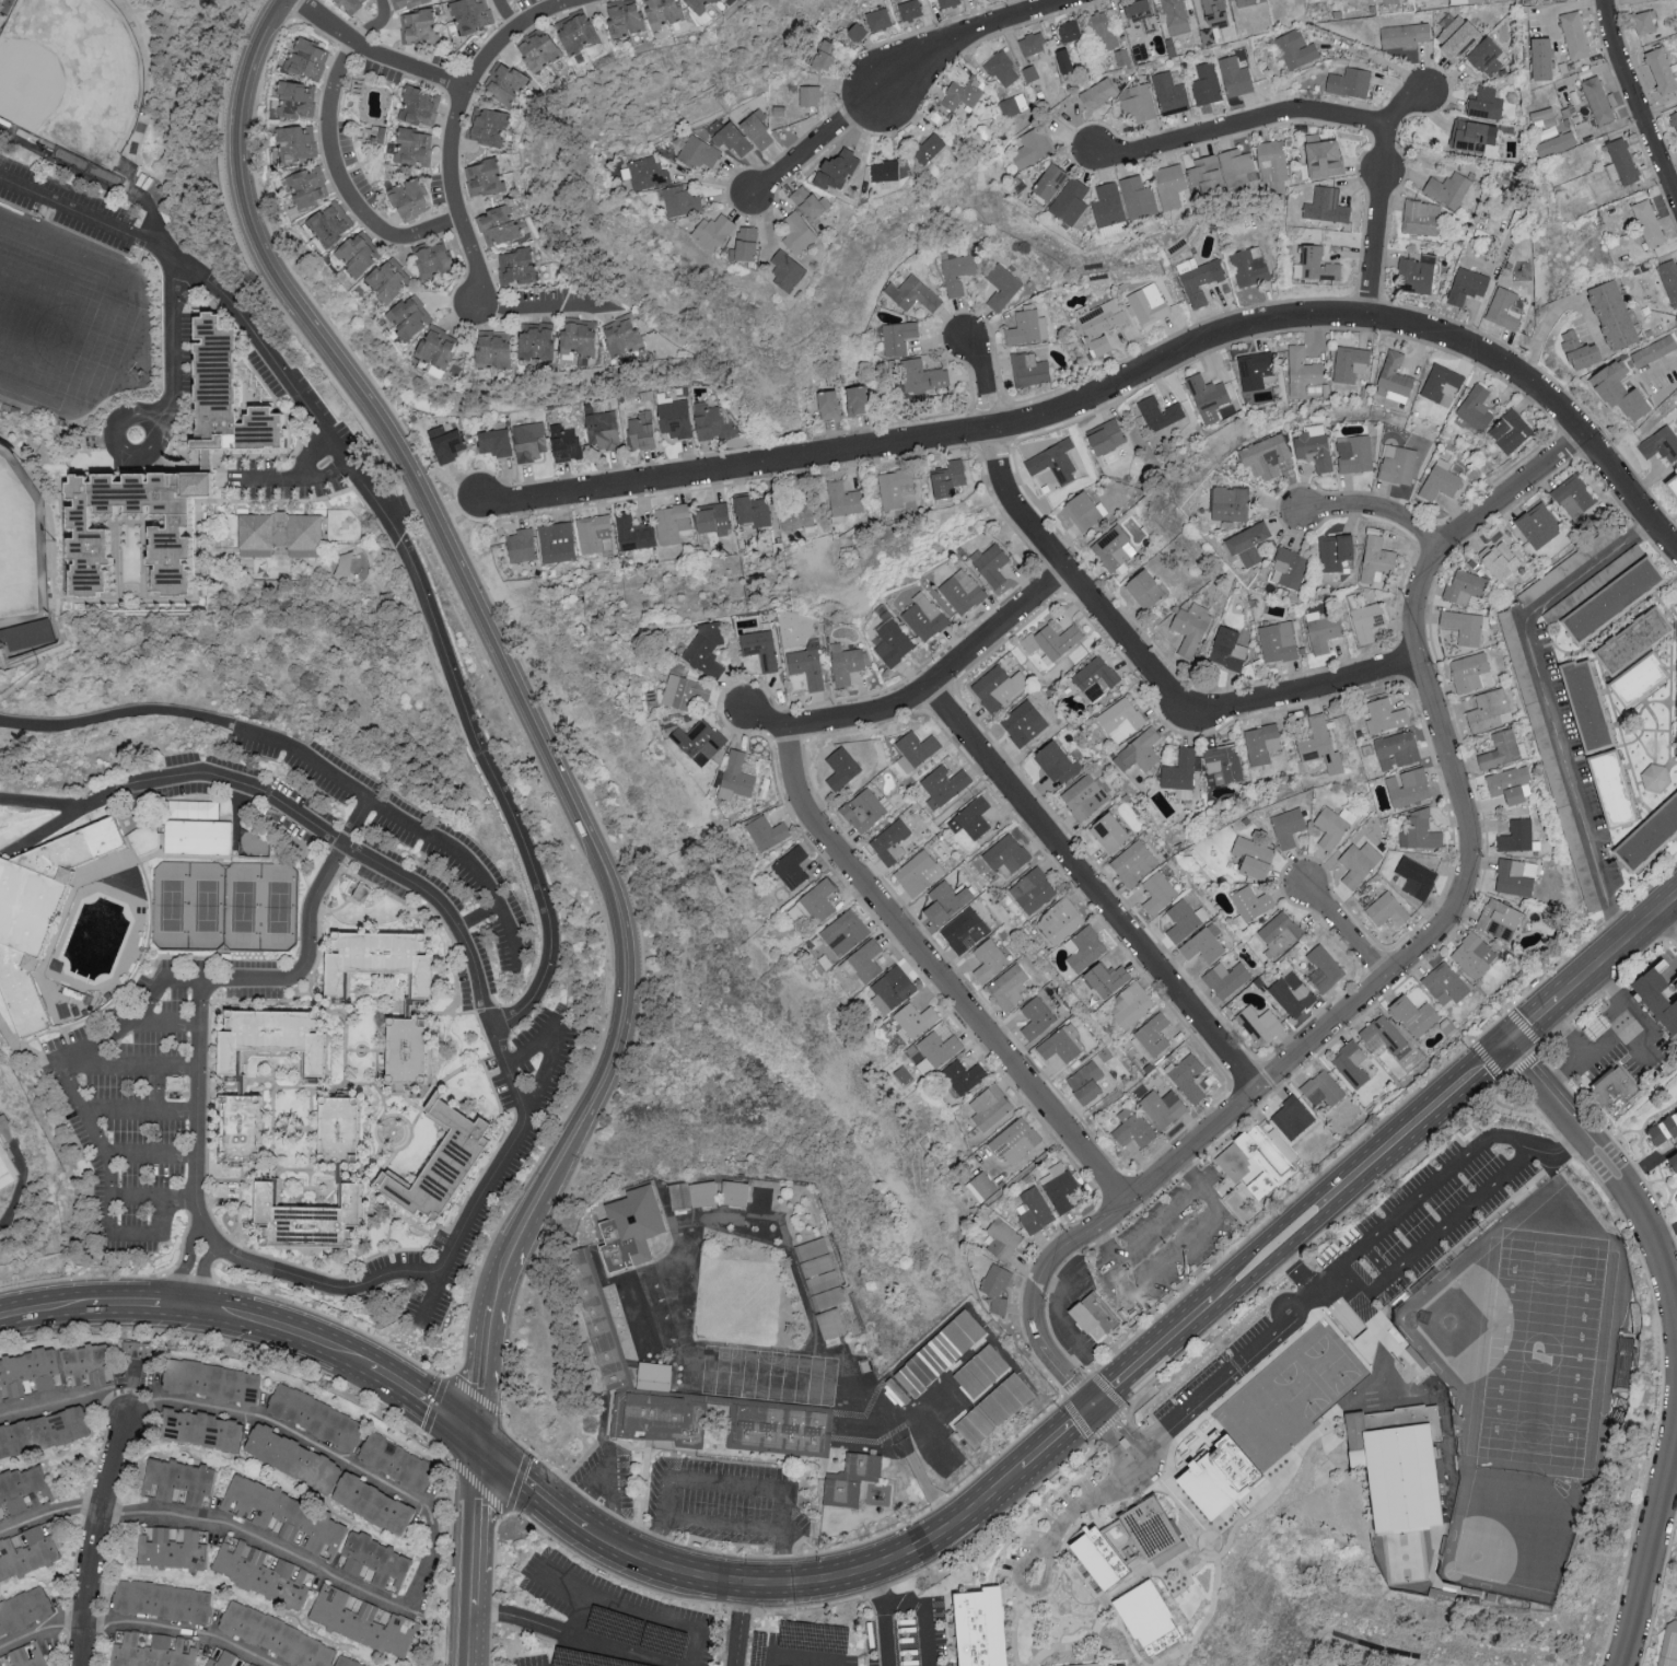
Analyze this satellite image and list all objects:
building: (1465, 0)
building: (947, 2)
building: (1245, 2)
building: (405, 3)
building: (349, 4)
building: (699, 4)
building: (909, 8)
building: (661, 11)
building: (1214, 12)
building: (1141, 13)
building: (470, 14)
road: (502, 14)
building: (1175, 15)
building: (622, 16)
building: (878, 19)
building: (1644, 20)
road: (373, 25)
building: (1069, 30)
building: (1104, 30)
building: (857, 31)
building: (577, 32)
building: (1405, 34)
building: (1574, 34)
building: (1457, 35)
building: (1032, 43)
building: (1296, 48)
park: (197, 49)
building: (537, 49)
building: (825, 54)
road: (375, 55)
building: (1486, 55)
building: (304, 57)
building: (1541, 57)
building: (1063, 59)
road: (1379, 61)
building: (1002, 67)
building: (1661, 70)
park: (70, 74)
building: (1235, 75)
building: (504, 80)
road: (899, 80)
building: (1349, 81)
building: (1206, 82)
building: (1097, 92)
building: (1169, 92)
building: (963, 93)
building: (810, 94)
building: (295, 98)
building: (1597, 100)
road: (1635, 100)
building: (1138, 101)
building: (1486, 102)
building: (418, 104)
building: (1013, 104)
road: (1659, 108)
building: (1544, 117)
building: (1675, 117)
road: (456, 121)
building: (488, 125)
road: (1242, 125)
building: (757, 128)
building: (371, 132)
building: (732, 137)
building: (296, 141)
building: (1556, 143)
building: (411, 144)
building: (1033, 145)
building: (929, 147)
building: (698, 151)
building: (1323, 155)
building: (1622, 160)
building: (1272, 163)
building: (1238, 167)
building: (836, 168)
building: (885, 170)
building: (647, 172)
building: (1206, 173)
building: (482, 176)
building: (1049, 180)
building: (1169, 184)
building: (307, 185)
road: (340, 186)
building: (1448, 187)
building: (1138, 196)
road: (1382, 196)
building: (408, 198)
building: (680, 199)
building: (1070, 200)
building: (810, 201)
building: (1326, 205)
building: (1108, 208)
building: (1422, 217)
building: (329, 222)
building: (1649, 222)
building: (498, 224)
building: (712, 230)
building: (797, 232)
building: (746, 242)
building: (356, 252)
building: (431, 259)
building: (1318, 264)
building: (515, 265)
building: (1249, 265)
building: (787, 270)
building: (957, 272)
building: (1416, 273)
building: (387, 278)
building: (1199, 278)
building: (1670, 280)
building: (1467, 284)
building: (1002, 286)
building: (912, 292)
road: (541, 298)
building: (1148, 303)
building: (1504, 307)
building: (1612, 314)
building: (408, 315)
road: (1551, 315)
park: (55, 318)
building: (1099, 324)
building: (1026, 327)
building: (621, 335)
building: (898, 336)
building: (578, 337)
building: (535, 340)
building: (435, 348)
building: (492, 348)
building: (1580, 350)
building: (1654, 350)
road: (173, 356)
building: (1350, 363)
road: (1663, 368)
building: (1029, 369)
building: (1256, 369)
building: (1302, 370)
building: (1395, 376)
building: (923, 377)
building: (1442, 384)
road: (1125, 385)
building: (1314, 387)
building: (1619, 389)
parking lot: (293, 395)
building: (1208, 396)
building: (218, 398)
building: (857, 399)
building: (828, 404)
building: (1475, 409)
building: (1160, 411)
building: (674, 416)
building: (711, 421)
building: (602, 429)
building: (640, 430)
building: (1510, 430)
building: (1106, 435)
building: (529, 440)
building: (494, 441)
building: (444, 442)
building: (564, 442)
building: (1661, 443)
building: (1314, 445)
building: (1354, 453)
road: (308, 455)
building: (1266, 455)
building: (1053, 461)
building: (1397, 463)
road: (326, 473)
building: (947, 477)
road: (269, 480)
building: (1441, 481)
building: (1672, 484)
building: (896, 488)
building: (1574, 494)
building: (843, 498)
building: (1231, 502)
road: (406, 503)
road: (423, 503)
building: (752, 509)
building: (1085, 510)
road: (1378, 510)
building: (796, 514)
building: (712, 517)
building: (671, 522)
building: (1538, 524)
road: (396, 532)
building: (633, 532)
building: (594, 533)
building: (277, 537)
park: (23, 543)
building: (1247, 543)
building: (86, 544)
building: (521, 544)
building: (1115, 548)
building: (1337, 551)
building: (1376, 559)
building: (1500, 559)
building: (990, 562)
building: (1289, 567)
building: (1465, 586)
building: (1144, 587)
building: (962, 590)
building: (1612, 598)
building: (923, 616)
building: (1366, 621)
building: (1464, 626)
building: (1191, 627)
building: (1323, 630)
road: (1119, 631)
building: (26, 633)
building: (1633, 638)
building: (1053, 640)
building: (1278, 641)
building: (893, 642)
building: (760, 648)
building: (1227, 648)
building: (707, 649)
building: (848, 662)
building: (807, 664)
building: (1469, 671)
building: (1095, 677)
building: (1639, 678)
building: (998, 686)
building: (685, 690)
road: (927, 694)
building: (1585, 703)
road: (1546, 704)
building: (1489, 709)
road: (116, 714)
building: (1386, 715)
building: (1121, 719)
building: (1023, 722)
building: (699, 739)
building: (1261, 743)
building: (1320, 744)
building: (1142, 748)
building: (1397, 748)
building: (916, 749)
building: (1501, 749)
building: (1057, 761)
building: (1222, 762)
building: (841, 767)
building: (1180, 772)
building: (735, 776)
building: (1655, 777)
building: (1511, 783)
building: (944, 784)
building: (1408, 787)
building: (1611, 788)
building: (1084, 796)
road: (38, 804)
building: (193, 808)
building: (863, 809)
building: (971, 817)
road: (401, 819)
road: (58, 822)
building: (1286, 824)
building: (1332, 825)
building: (1420, 829)
building: (767, 831)
building: (1109, 831)
building: (1516, 835)
building: (1649, 836)
building: (197, 841)
building: (890, 841)
building: (1006, 852)
building: (1254, 857)
building: (1133, 862)
building: (1359, 862)
building: (791, 866)
building: (918, 872)
building: (1417, 876)
building: (1515, 876)
building: (1033, 889)
road: (1093, 890)
building: (361, 892)
building: (1158, 892)
building: (815, 901)
building: (946, 901)
building: (1250, 904)
park: (223, 908)
building: (1387, 909)
building: (38, 913)
road: (478, 914)
building: (1499, 918)
building: (1185, 919)
building: (1060, 920)
road: (1666, 925)
road: (306, 930)
building: (965, 930)
building: (846, 931)
building: (1279, 933)
road: (1349, 933)
building: (1203, 943)
building: (1084, 947)
road: (1618, 947)
road: (1423, 951)
building: (1474, 955)
building: (989, 959)
building: (864, 962)
building: (376, 964)
building: (1324, 968)
road: (940, 972)
building: (1107, 978)
building: (1226, 978)
building: (1445, 982)
building: (894, 987)
building: (1009, 987)
building: (1292, 993)
building: (1658, 994)
road: (1553, 1002)
building: (1131, 1003)
building: (1414, 1014)
building: (1036, 1016)
building: (916, 1018)
road: (165, 1024)
building: (1259, 1024)
road: (1526, 1026)
building: (1596, 1030)
road: (1568, 1033)
building: (1383, 1034)
building: (1152, 1036)
road: (1617, 1036)
building: (1675, 1037)
building: (1061, 1044)
building: (268, 1045)
road: (551, 1045)
building: (940, 1047)
road: (1635, 1047)
building: (403, 1058)
building: (1351, 1062)
building: (925, 1065)
road: (133, 1067)
road: (1524, 1068)
building: (964, 1075)
building: (1188, 1076)
building: (1085, 1081)
road: (67, 1082)
building: (1323, 1088)
building: (1614, 1093)
parking lot: (142, 1094)
building: (990, 1106)
building: (1163, 1107)
road: (140, 1110)
building: (1292, 1117)
road: (1384, 1118)
building: (1132, 1127)
building: (1663, 1128)
building: (237, 1132)
building: (334, 1133)
building: (1015, 1140)
road: (1516, 1143)
road: (505, 1155)
building: (1255, 1155)
road: (149, 1156)
building: (1673, 1157)
building: (441, 1164)
building: (4, 1170)
road: (1190, 1170)
road: (1358, 1173)
building: (982, 1185)
road: (1628, 1185)
building: (1059, 1186)
building: (735, 1192)
building: (672, 1196)
building: (761, 1197)
building: (1034, 1210)
building: (678, 1221)
road: (776, 1222)
building: (303, 1223)
road: (526, 1224)
building: (630, 1227)
road: (1320, 1233)
road: (131, 1235)
building: (1003, 1238)
road: (1104, 1245)
road: (184, 1266)
road: (198, 1274)
road: (81, 1279)
road: (190, 1279)
building: (997, 1286)
road: (1130, 1291)
road: (429, 1296)
road: (143, 1306)
road: (45, 1309)
road: (1317, 1313)
building: (1094, 1316)
building: (634, 1318)
road: (336, 1319)
building: (829, 1323)
road: (1063, 1325)
road: (1223, 1328)
road: (286, 1330)
park: (1535, 1338)
road: (242, 1344)
building: (131, 1348)
building: (940, 1352)
road: (1151, 1352)
park: (1545, 1354)
building: (83, 1358)
building: (1623, 1362)
building: (981, 1370)
building: (28, 1371)
building: (615, 1371)
building: (653, 1375)
road: (449, 1376)
building: (210, 1382)
road: (131, 1388)
road: (1078, 1389)
building: (897, 1390)
road: (1191, 1394)
building: (0, 1396)
road: (422, 1400)
road: (1227, 1406)
traffic signals: (1091, 1407)
road: (229, 1408)
building: (994, 1409)
road: (1120, 1412)
building: (314, 1417)
building: (862, 1417)
road: (1118, 1417)
building: (200, 1428)
building: (43, 1430)
traffic signals: (475, 1435)
road: (1056, 1437)
road: (1111, 1441)
road: (1148, 1449)
building: (863, 1458)
building: (395, 1459)
building: (1401, 1464)
road: (1146, 1466)
road: (614, 1469)
building: (1236, 1477)
building: (330, 1478)
building: (176, 1480)
road: (527, 1484)
building: (22, 1486)
road: (733, 1486)
building: (842, 1494)
parking lot: (726, 1501)
road: (1085, 1502)
road: (504, 1510)
building: (281, 1513)
road: (46, 1514)
building: (1, 1516)
road: (729, 1525)
road: (257, 1535)
building: (1156, 1535)
road: (94, 1537)
park: (1513, 1539)
building: (171, 1545)
building: (26, 1549)
road: (478, 1550)
road: (1652, 1551)
building: (1098, 1554)
road: (784, 1557)
building: (371, 1559)
road: (430, 1561)
building: (261, 1570)
road: (814, 1581)
road: (875, 1586)
road: (1027, 1589)
building: (161, 1598)
road: (906, 1604)
road: (813, 1605)
building: (23, 1607)
road: (642, 1615)
building: (1148, 1616)
building: (362, 1618)
road: (524, 1621)
parking lot: (607, 1621)
road: (141, 1622)
road: (742, 1624)
building: (980, 1626)
building: (276, 1634)
road: (886, 1634)
road: (925, 1639)
road: (602, 1644)
building: (153, 1648)
parking lot: (805, 1651)
park: (1672, 1652)
building: (27, 1654)
road: (788, 1656)
building: (225, 1659)
road: (824, 1659)
building: (347, 1661)
building: (1094, 1661)
building: (0, 1664)

